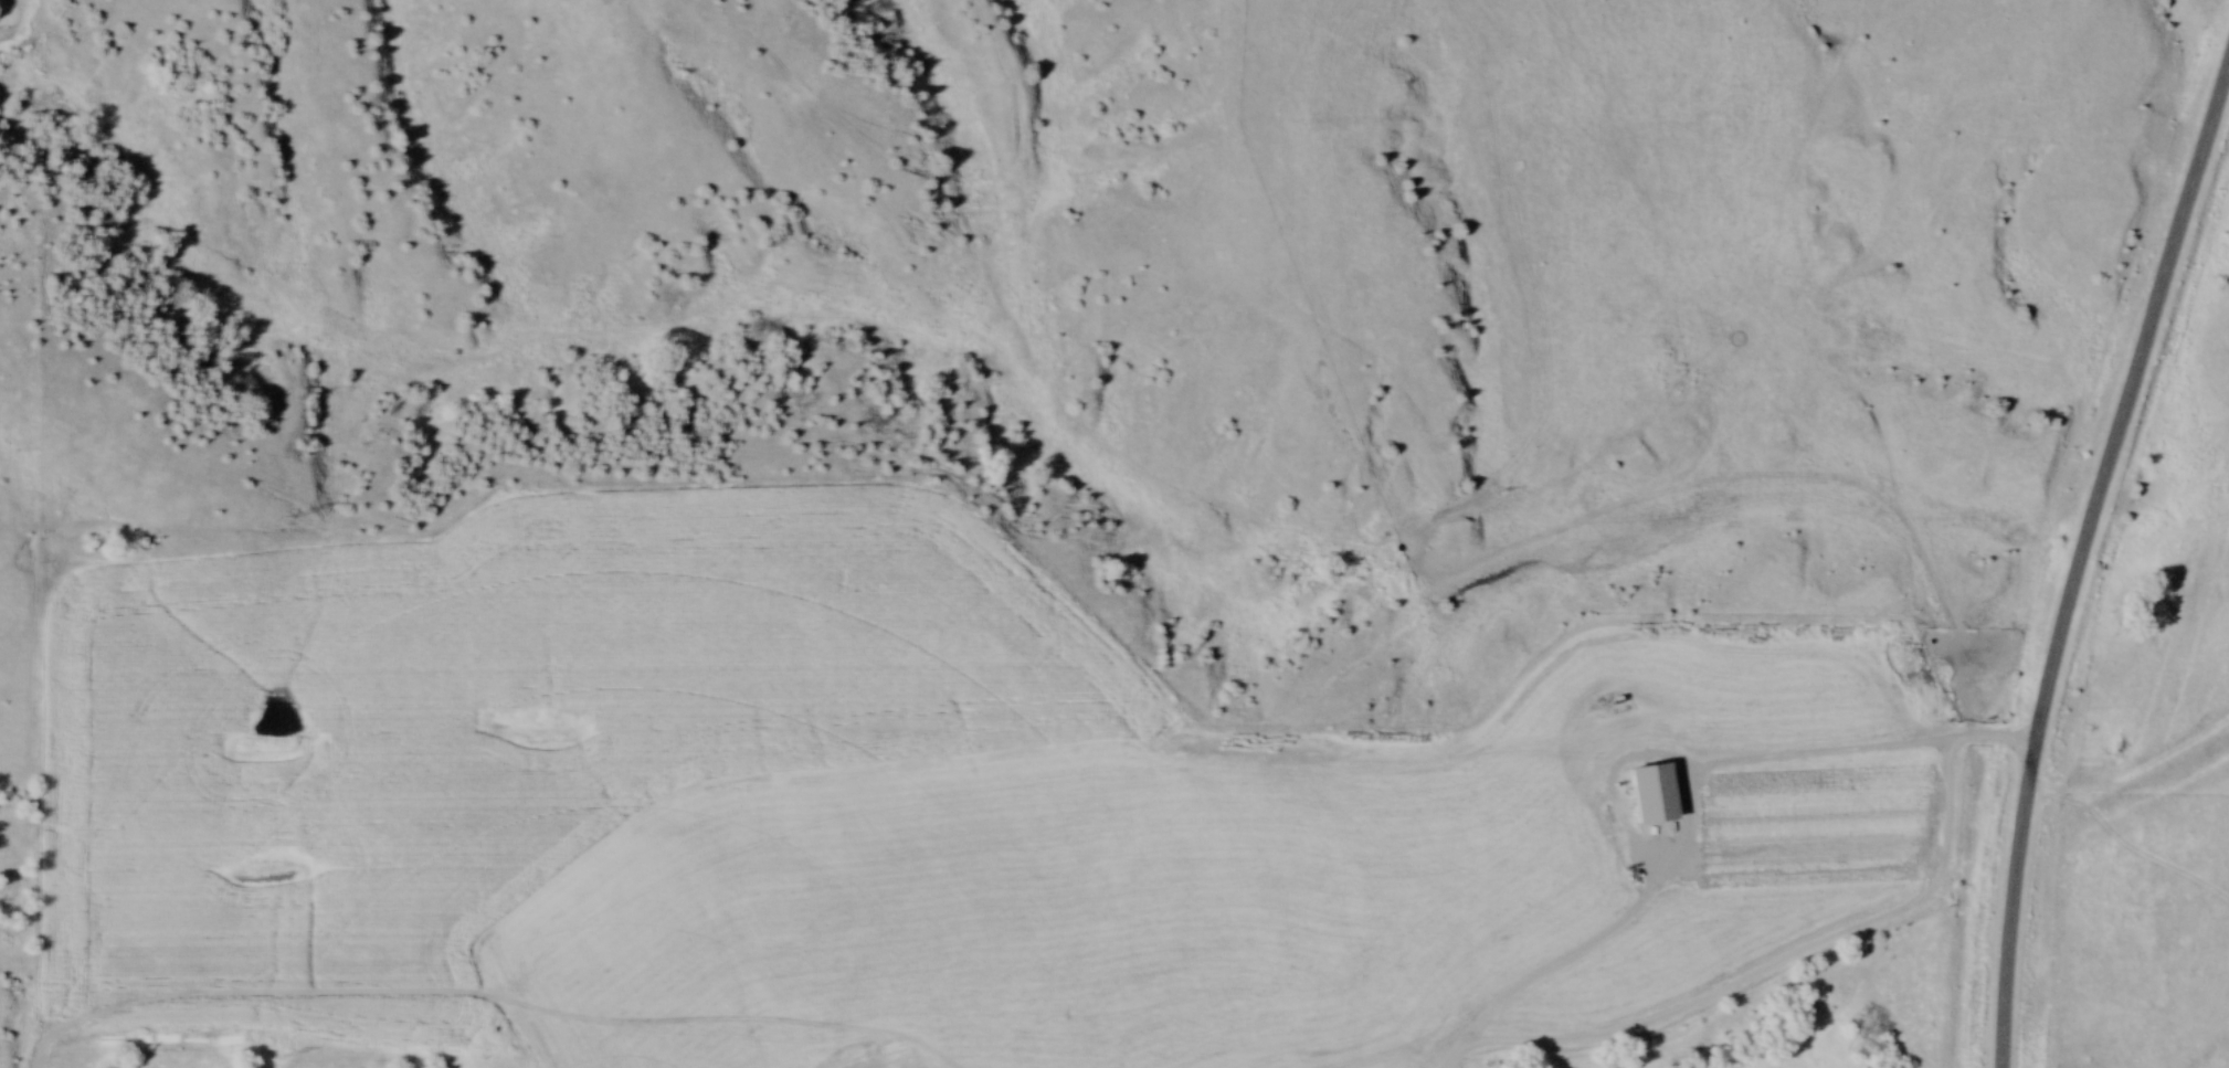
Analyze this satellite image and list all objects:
power tower: (286, 521)
road: (2078, 557)
power tower: (273, 1062)

